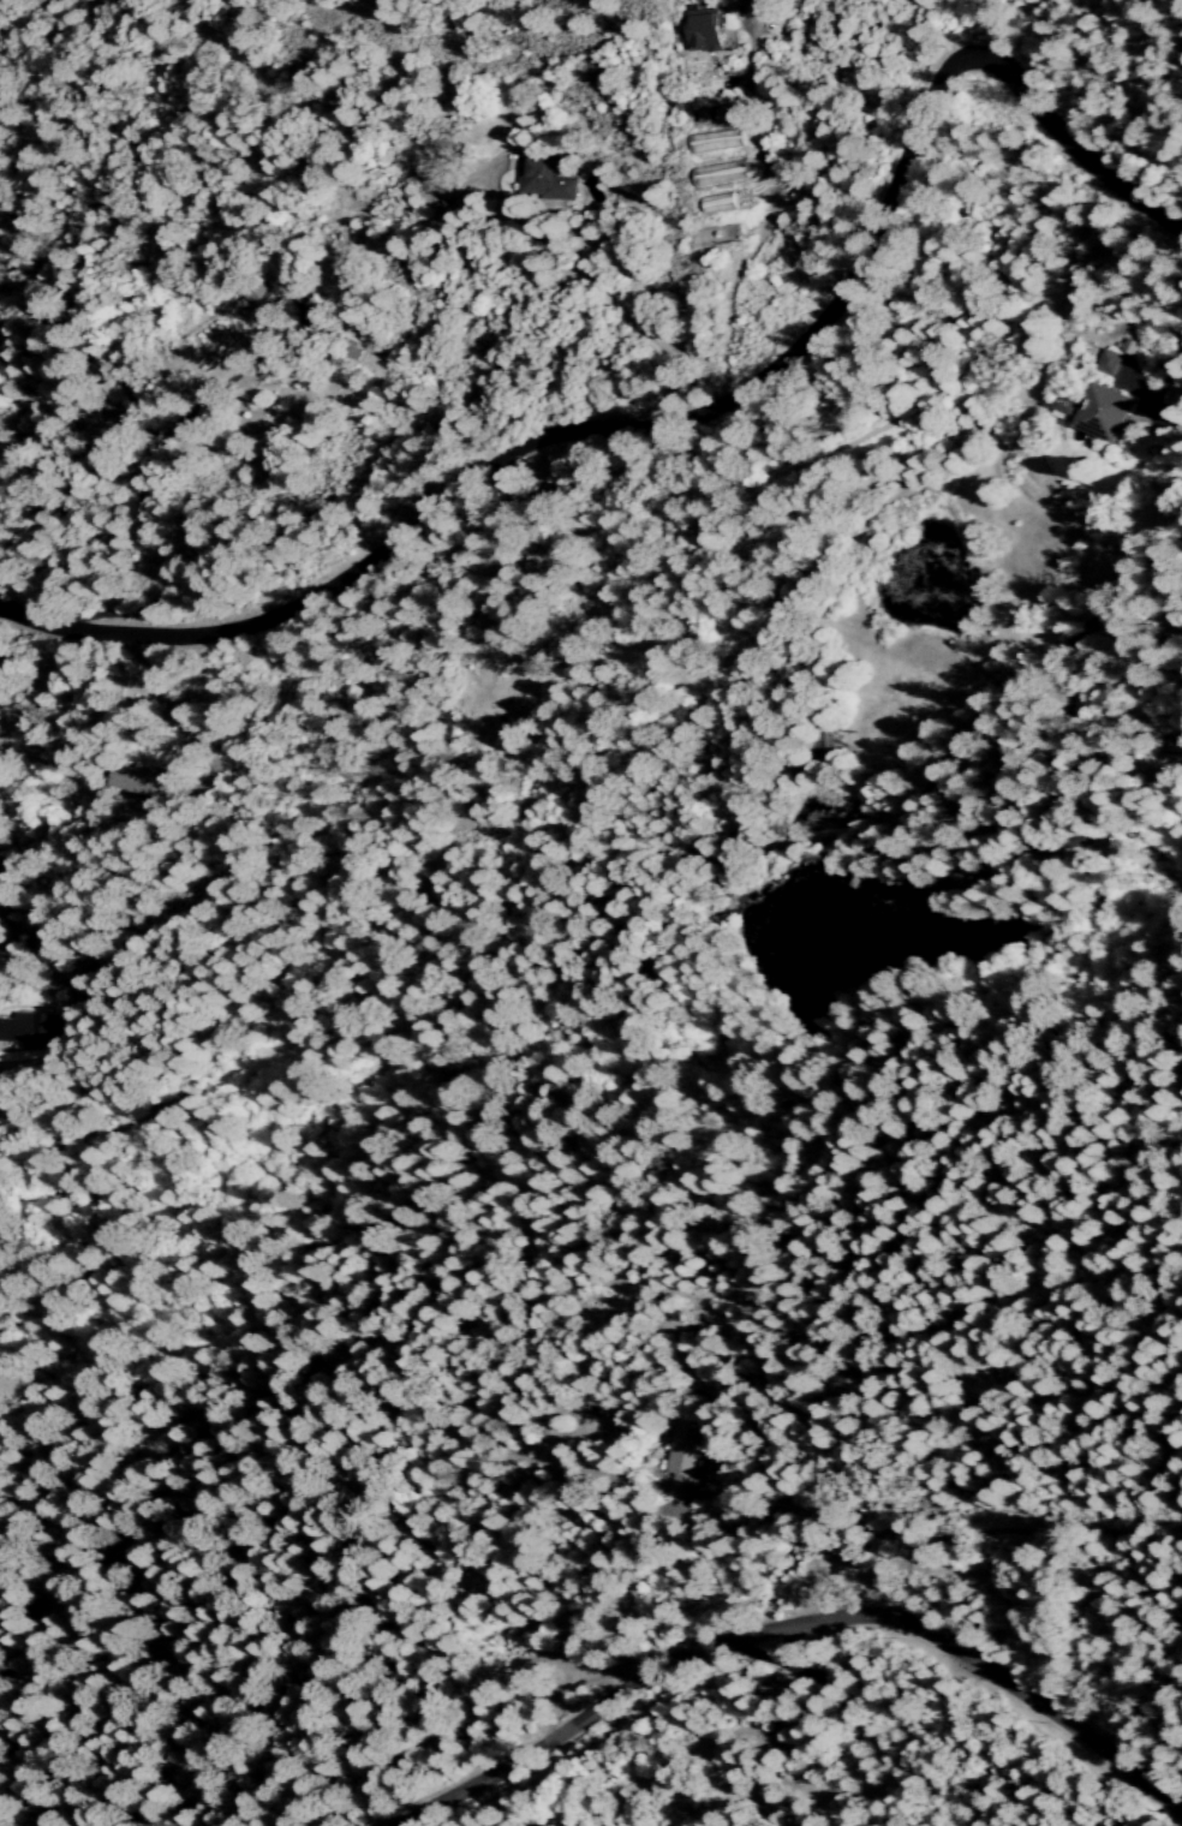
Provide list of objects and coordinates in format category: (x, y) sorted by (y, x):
building: (705, 29)
building: (716, 141)
building: (721, 173)
building: (543, 181)
building: (1127, 347)
building: (1100, 413)
road: (682, 416)
building: (142, 780)
building: (26, 1030)
building: (685, 1456)
road: (572, 1603)
road: (790, 1624)

